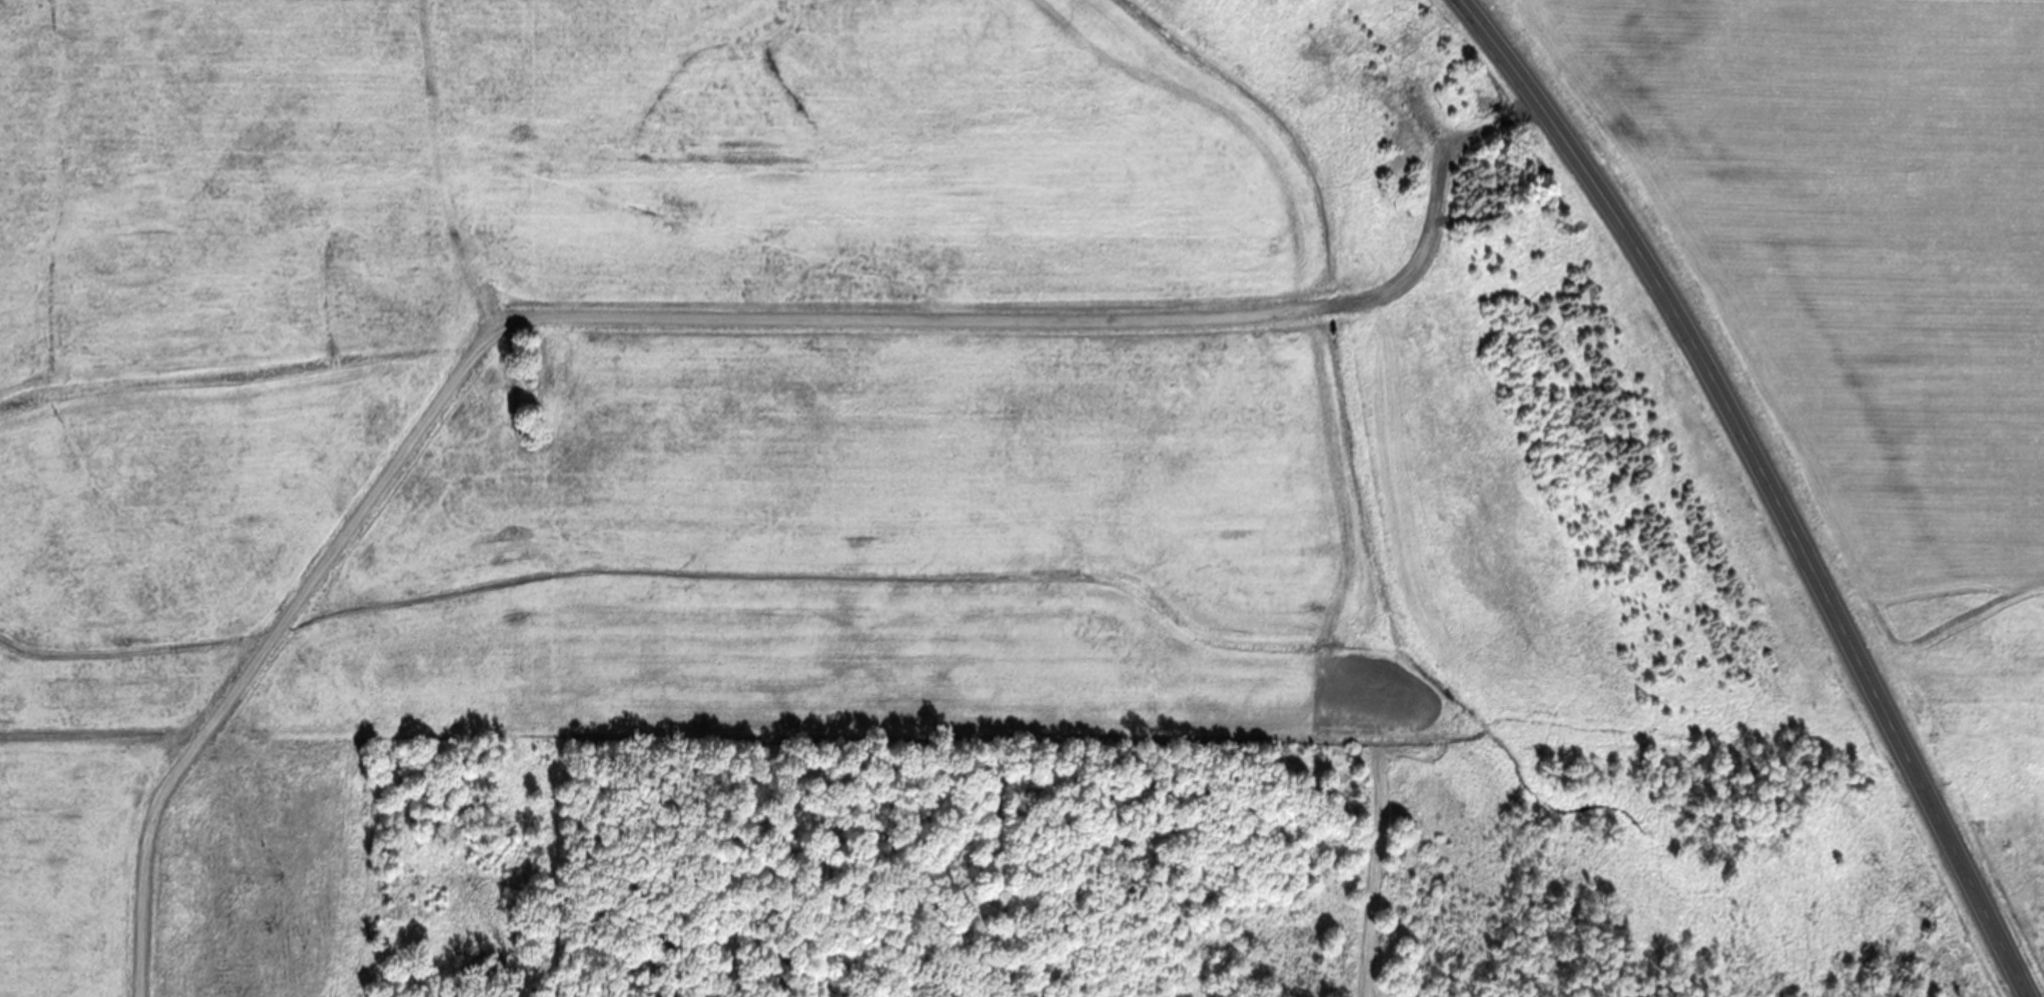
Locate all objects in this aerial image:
road: (681, 317)
road: (1767, 484)
landfill: (826, 499)

